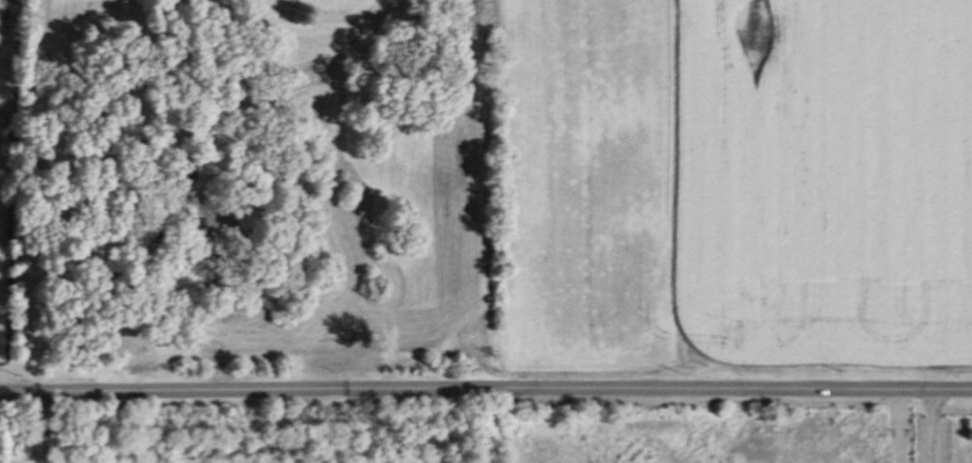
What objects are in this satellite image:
road: (485, 387)
road: (896, 424)
road: (932, 424)
road: (40, 427)

